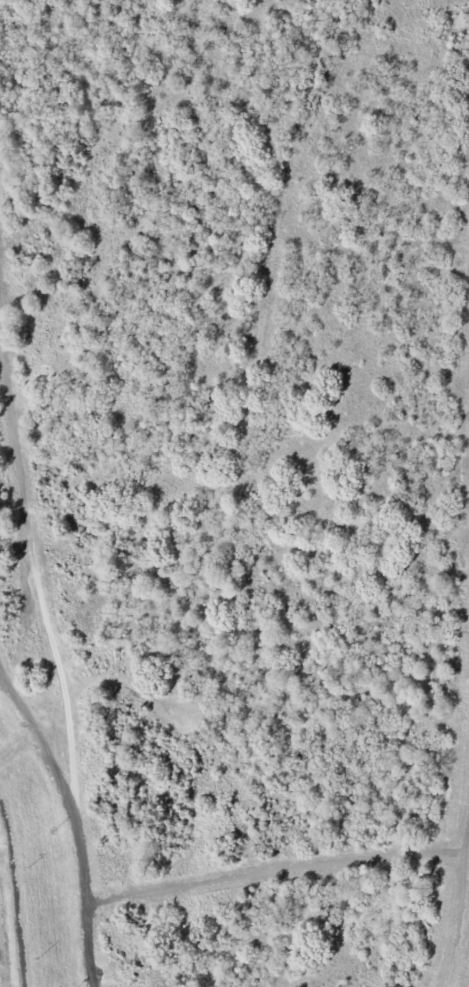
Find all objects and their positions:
road: (72, 818)

